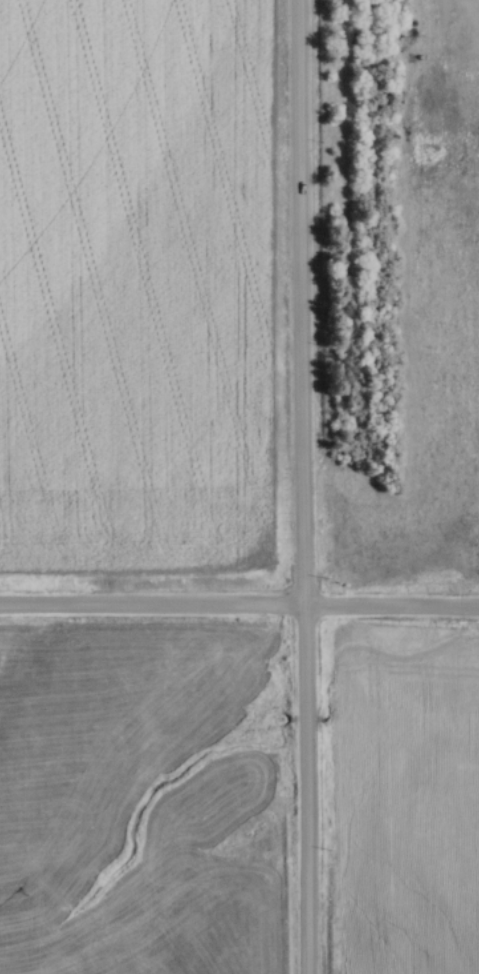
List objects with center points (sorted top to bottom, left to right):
building: (399, 5)
road: (296, 487)
road: (239, 610)

